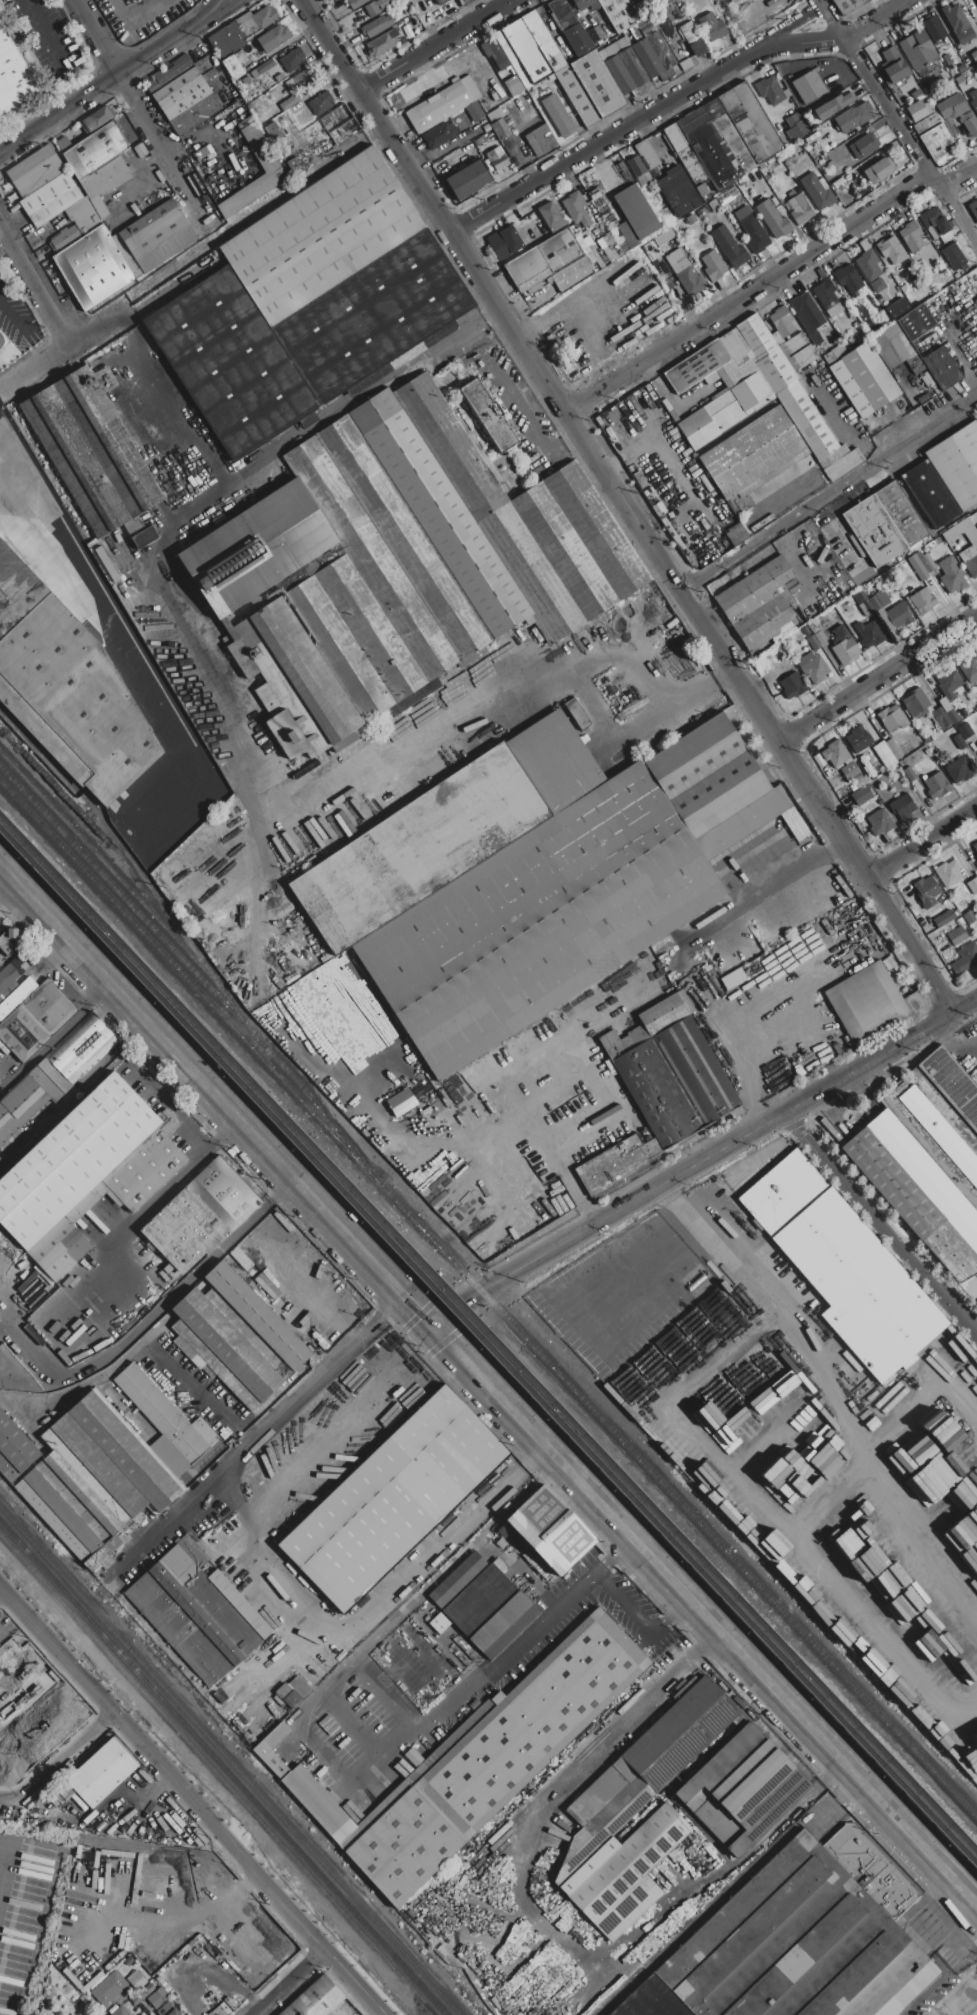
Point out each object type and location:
building: (732, 1)
building: (442, 2)
building: (664, 2)
building: (355, 3)
building: (585, 4)
building: (846, 5)
building: (371, 9)
road: (219, 10)
building: (562, 14)
building: (616, 14)
building: (957, 24)
road: (799, 25)
building: (377, 26)
building: (712, 27)
building: (934, 29)
building: (242, 30)
road: (41, 34)
building: (596, 35)
road: (96, 38)
building: (693, 39)
building: (271, 40)
building: (578, 40)
building: (543, 41)
building: (381, 44)
road: (434, 45)
building: (661, 50)
building: (917, 50)
building: (522, 53)
building: (495, 54)
building: (974, 56)
building: (647, 58)
building: (947, 59)
building: (292, 61)
building: (894, 65)
building: (233, 67)
building: (961, 67)
building: (624, 68)
building: (261, 69)
building: (784, 70)
building: (14, 76)
building: (279, 78)
building: (301, 80)
building: (817, 80)
road: (112, 81)
building: (598, 84)
building: (514, 86)
building: (279, 88)
building: (927, 88)
building: (770, 90)
building: (184, 95)
building: (577, 96)
road: (675, 99)
building: (973, 99)
building: (288, 103)
building: (444, 103)
building: (321, 104)
building: (833, 105)
building: (919, 110)
building: (957, 114)
building: (558, 116)
building: (853, 117)
building: (97, 120)
road: (897, 121)
building: (793, 122)
building: (339, 125)
building: (925, 125)
building: (500, 129)
building: (274, 133)
building: (438, 135)
building: (723, 138)
building: (540, 140)
building: (937, 142)
building: (63, 144)
building: (864, 146)
building: (95, 150)
road: (166, 153)
building: (647, 154)
building: (496, 158)
building: (294, 164)
building: (878, 170)
building: (35, 171)
building: (273, 171)
building: (639, 171)
building: (105, 178)
road: (960, 180)
building: (467, 181)
building: (817, 192)
building: (678, 193)
building: (50, 199)
building: (973, 208)
building: (577, 209)
building: (799, 209)
building: (86, 214)
building: (634, 215)
building: (550, 217)
building: (773, 219)
building: (936, 225)
building: (754, 233)
building: (911, 236)
building: (65, 238)
building: (504, 242)
building: (729, 247)
building: (891, 250)
building: (122, 253)
road: (187, 257)
building: (954, 257)
building: (543, 260)
building: (713, 266)
building: (572, 274)
building: (870, 274)
building: (687, 276)
building: (848, 279)
road: (35, 286)
road: (748, 293)
building: (827, 295)
building: (308, 305)
building: (896, 308)
building: (807, 316)
road: (22, 319)
building: (782, 322)
building: (915, 322)
building: (4, 340)
building: (895, 349)
building: (834, 353)
building: (941, 368)
building: (864, 380)
building: (768, 384)
building: (751, 393)
road: (672, 402)
road: (342, 409)
building: (723, 411)
building: (488, 416)
road: (844, 428)
building: (697, 430)
building: (91, 452)
building: (957, 465)
building: (762, 469)
road: (830, 494)
building: (930, 494)
road: (627, 507)
building: (884, 524)
building: (976, 527)
building: (976, 529)
building: (961, 531)
building: (735, 534)
building: (257, 548)
building: (925, 561)
building: (969, 561)
building: (917, 568)
building: (420, 569)
building: (952, 575)
road: (92, 590)
building: (881, 598)
building: (865, 602)
building: (922, 602)
building: (875, 603)
building: (761, 604)
building: (848, 607)
building: (863, 610)
building: (899, 615)
building: (869, 635)
building: (820, 637)
building: (813, 643)
building: (844, 646)
building: (796, 647)
building: (812, 667)
building: (64, 669)
building: (780, 669)
building: (970, 669)
road: (878, 677)
building: (948, 682)
building: (792, 685)
road: (506, 688)
building: (916, 704)
building: (948, 710)
building: (576, 713)
building: (892, 718)
building: (941, 718)
building: (965, 731)
building: (858, 738)
building: (959, 741)
building: (893, 749)
building: (835, 753)
building: (849, 771)
building: (958, 771)
building: (909, 774)
building: (708, 775)
building: (935, 787)
building: (861, 795)
building: (902, 807)
railway: (79, 811)
building: (742, 823)
building: (880, 823)
building: (446, 832)
road: (921, 842)
building: (975, 850)
building: (948, 873)
railway: (114, 875)
railway: (141, 875)
building: (973, 885)
building: (925, 888)
road: (770, 891)
building: (969, 917)
building: (944, 919)
building: (538, 921)
building: (957, 935)
building: (9, 941)
building: (965, 959)
railway: (193, 971)
building: (733, 979)
building: (351, 983)
building: (866, 1002)
building: (48, 1007)
building: (22, 1033)
road: (56, 1037)
road: (729, 1038)
road: (953, 1048)
building: (688, 1059)
road: (184, 1061)
road: (587, 1069)
building: (55, 1074)
building: (952, 1083)
building: (655, 1094)
building: (400, 1102)
road: (836, 1119)
road: (532, 1125)
building: (940, 1133)
road: (412, 1137)
road: (704, 1162)
building: (617, 1164)
building: (86, 1174)
building: (916, 1193)
building: (202, 1215)
road: (136, 1217)
road: (881, 1224)
road: (744, 1241)
building: (843, 1268)
road: (403, 1293)
railway: (488, 1298)
road: (159, 1308)
road: (584, 1317)
road: (638, 1329)
traffic signals: (438, 1330)
building: (234, 1337)
railway: (488, 1341)
railway: (488, 1354)
road: (832, 1377)
road: (922, 1402)
road: (257, 1433)
building: (14, 1449)
building: (111, 1464)
road: (298, 1474)
building: (931, 1479)
road: (833, 1495)
building: (392, 1499)
road: (772, 1512)
road: (920, 1524)
building: (548, 1530)
building: (765, 1544)
building: (788, 1568)
road: (387, 1599)
building: (489, 1611)
building: (197, 1613)
road: (639, 1616)
road: (707, 1617)
road: (2, 1633)
road: (515, 1641)
building: (953, 1644)
road: (392, 1651)
building: (292, 1691)
building: (490, 1758)
railway: (229, 1761)
building: (270, 1761)
railway: (222, 1768)
railway: (218, 1774)
building: (97, 1775)
building: (742, 1789)
building: (317, 1803)
road: (191, 1804)
building: (604, 1806)
road: (540, 1929)
building: (798, 1941)
building: (128, 1961)
railway: (442, 1969)
building: (136, 1980)
road: (287, 1981)
railway: (940, 1981)
building: (112, 1986)
railway: (469, 1992)
building: (158, 1998)
building: (315, 1999)
building: (222, 2008)
building: (118, 2010)
building: (44, 2011)
building: (175, 2012)
building: (141, 2014)

